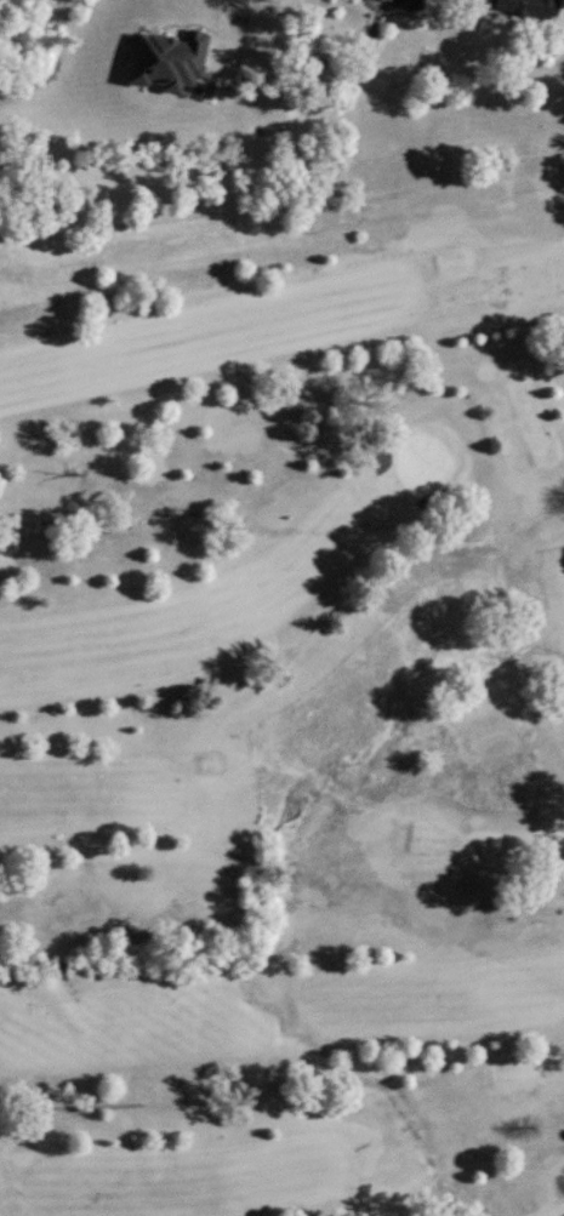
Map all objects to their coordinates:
building: (384, 0)
building: (410, 5)
building: (526, 7)
road: (223, 28)
building: (166, 62)
park: (284, 666)
road: (34, 1108)

